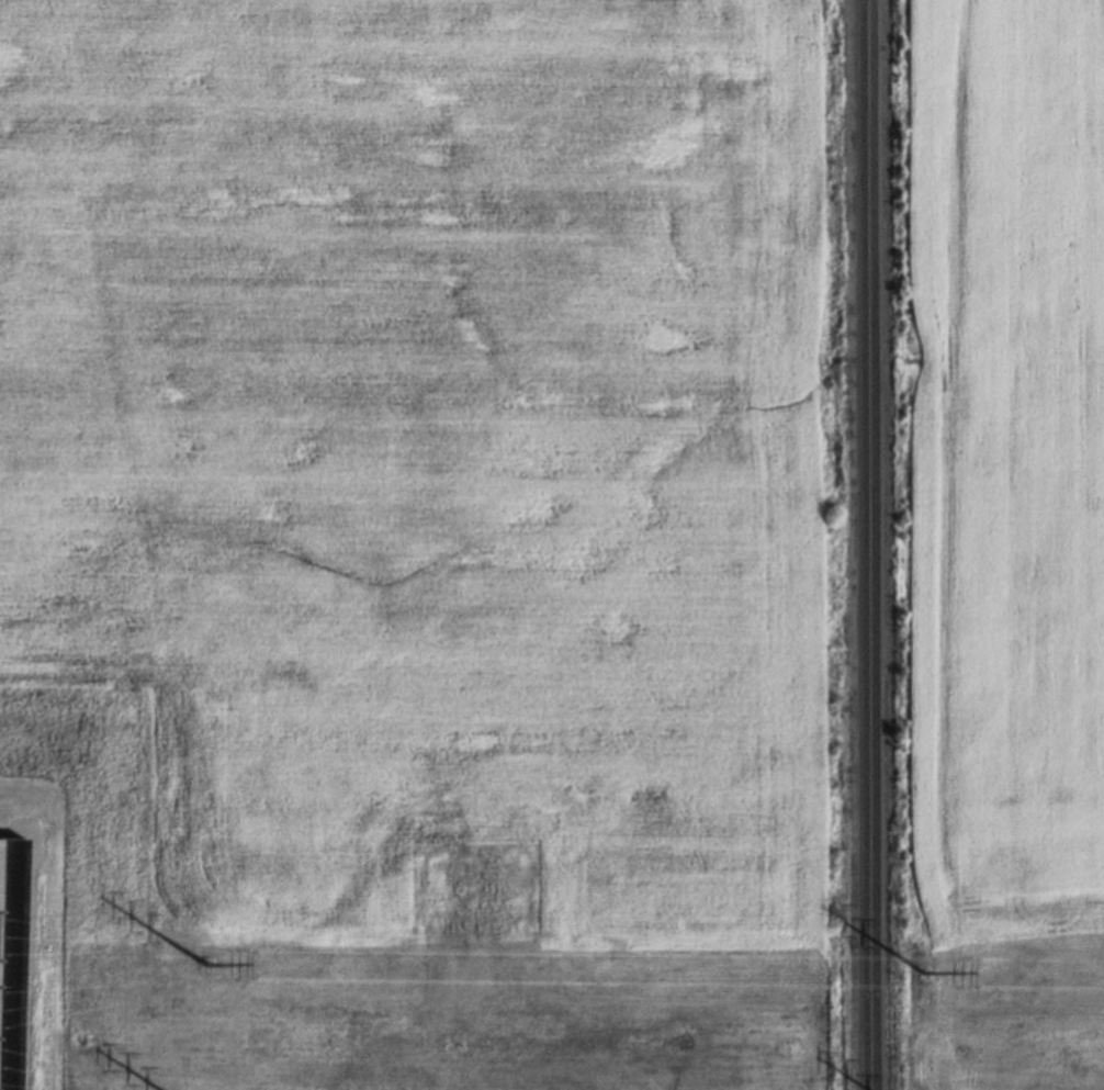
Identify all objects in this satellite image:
crop: (1001, 473)
railway: (864, 544)
railway: (874, 544)
road: (29, 937)
power substation: (10, 953)
power tower: (207, 956)
power tower: (926, 962)

